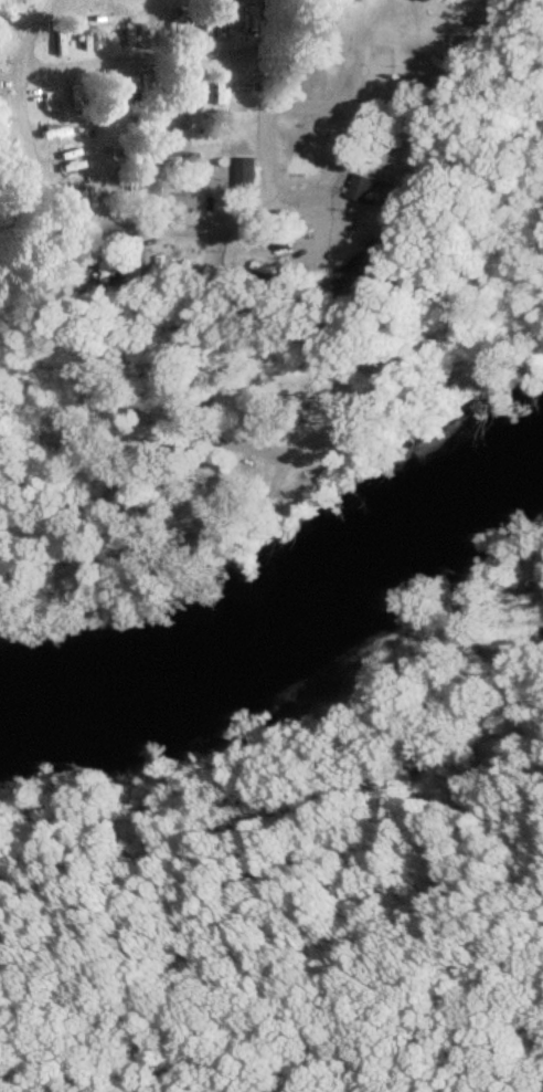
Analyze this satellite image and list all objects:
building: (243, 17)
road: (24, 33)
building: (55, 42)
road: (350, 51)
road: (263, 103)
building: (172, 161)
building: (360, 189)
road: (327, 192)
building: (88, 203)
river: (289, 631)

